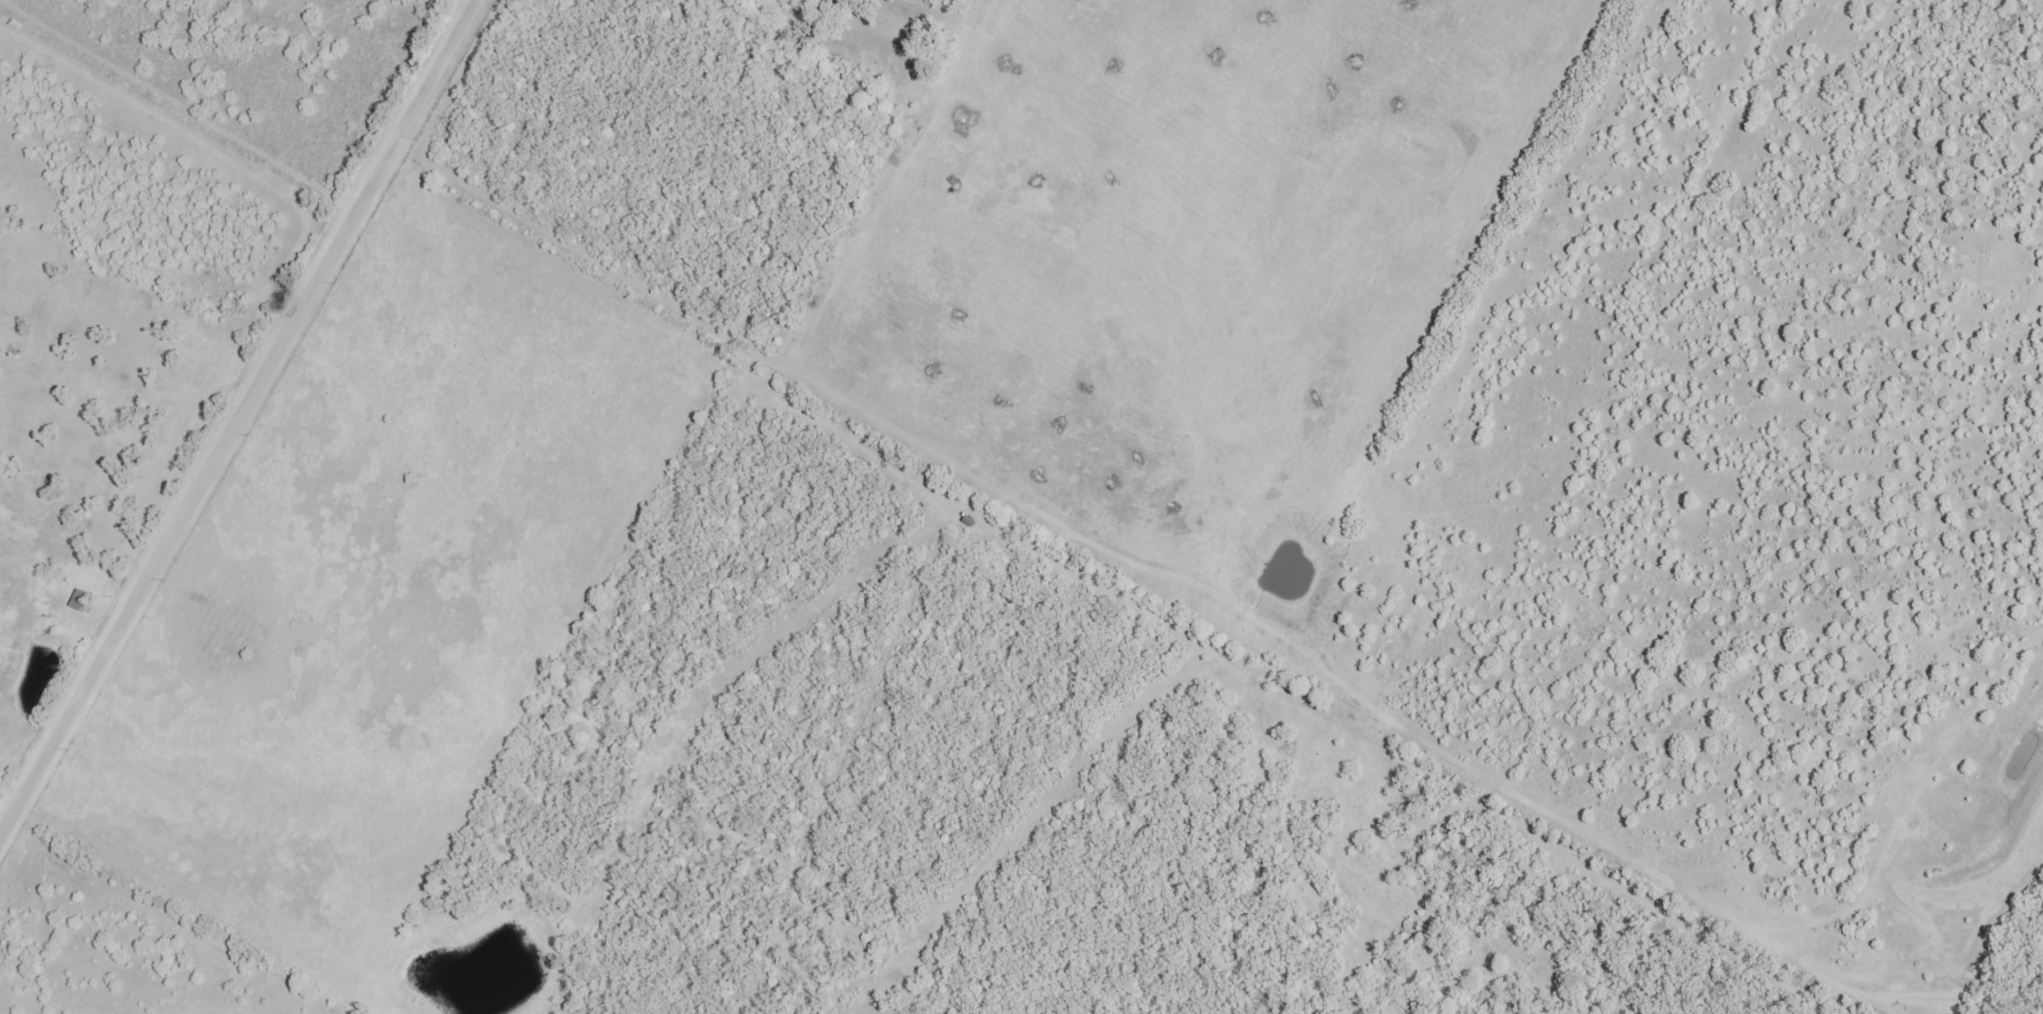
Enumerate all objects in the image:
road: (236, 418)
building: (81, 599)

